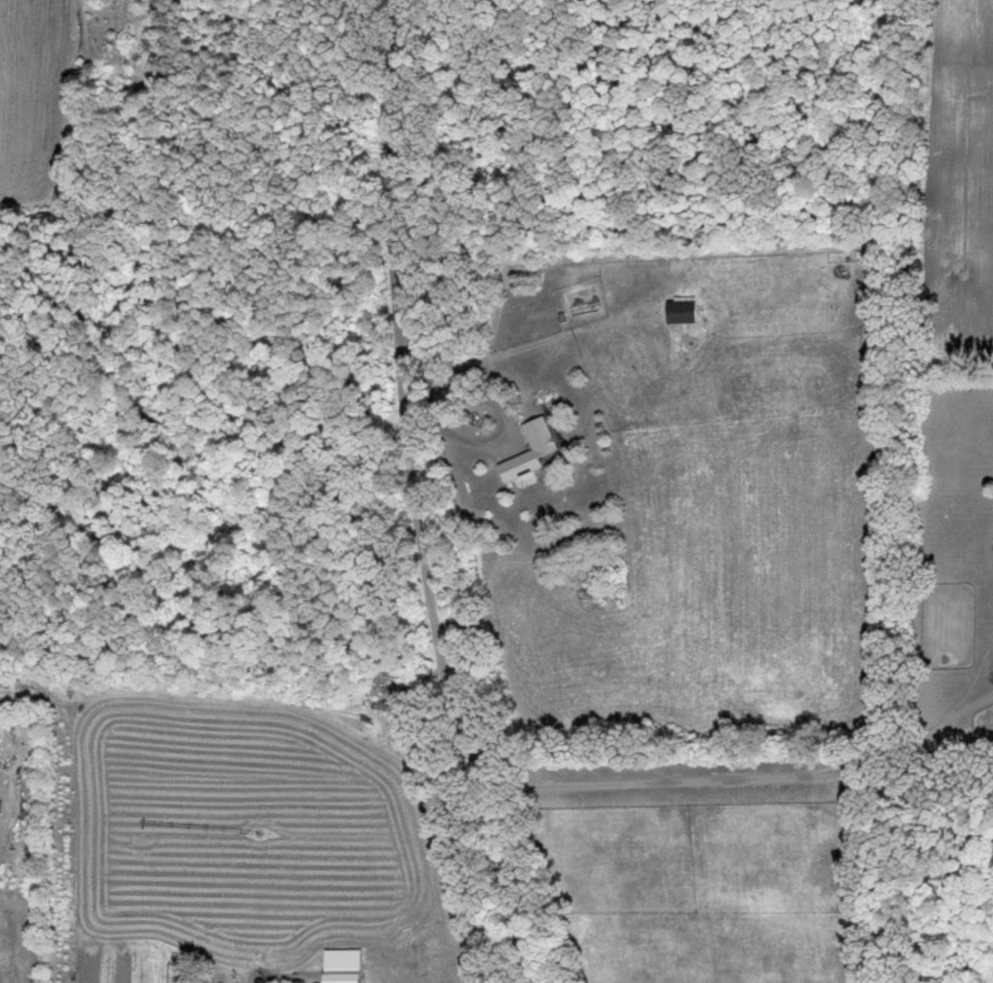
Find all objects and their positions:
building: (686, 312)
building: (546, 438)

